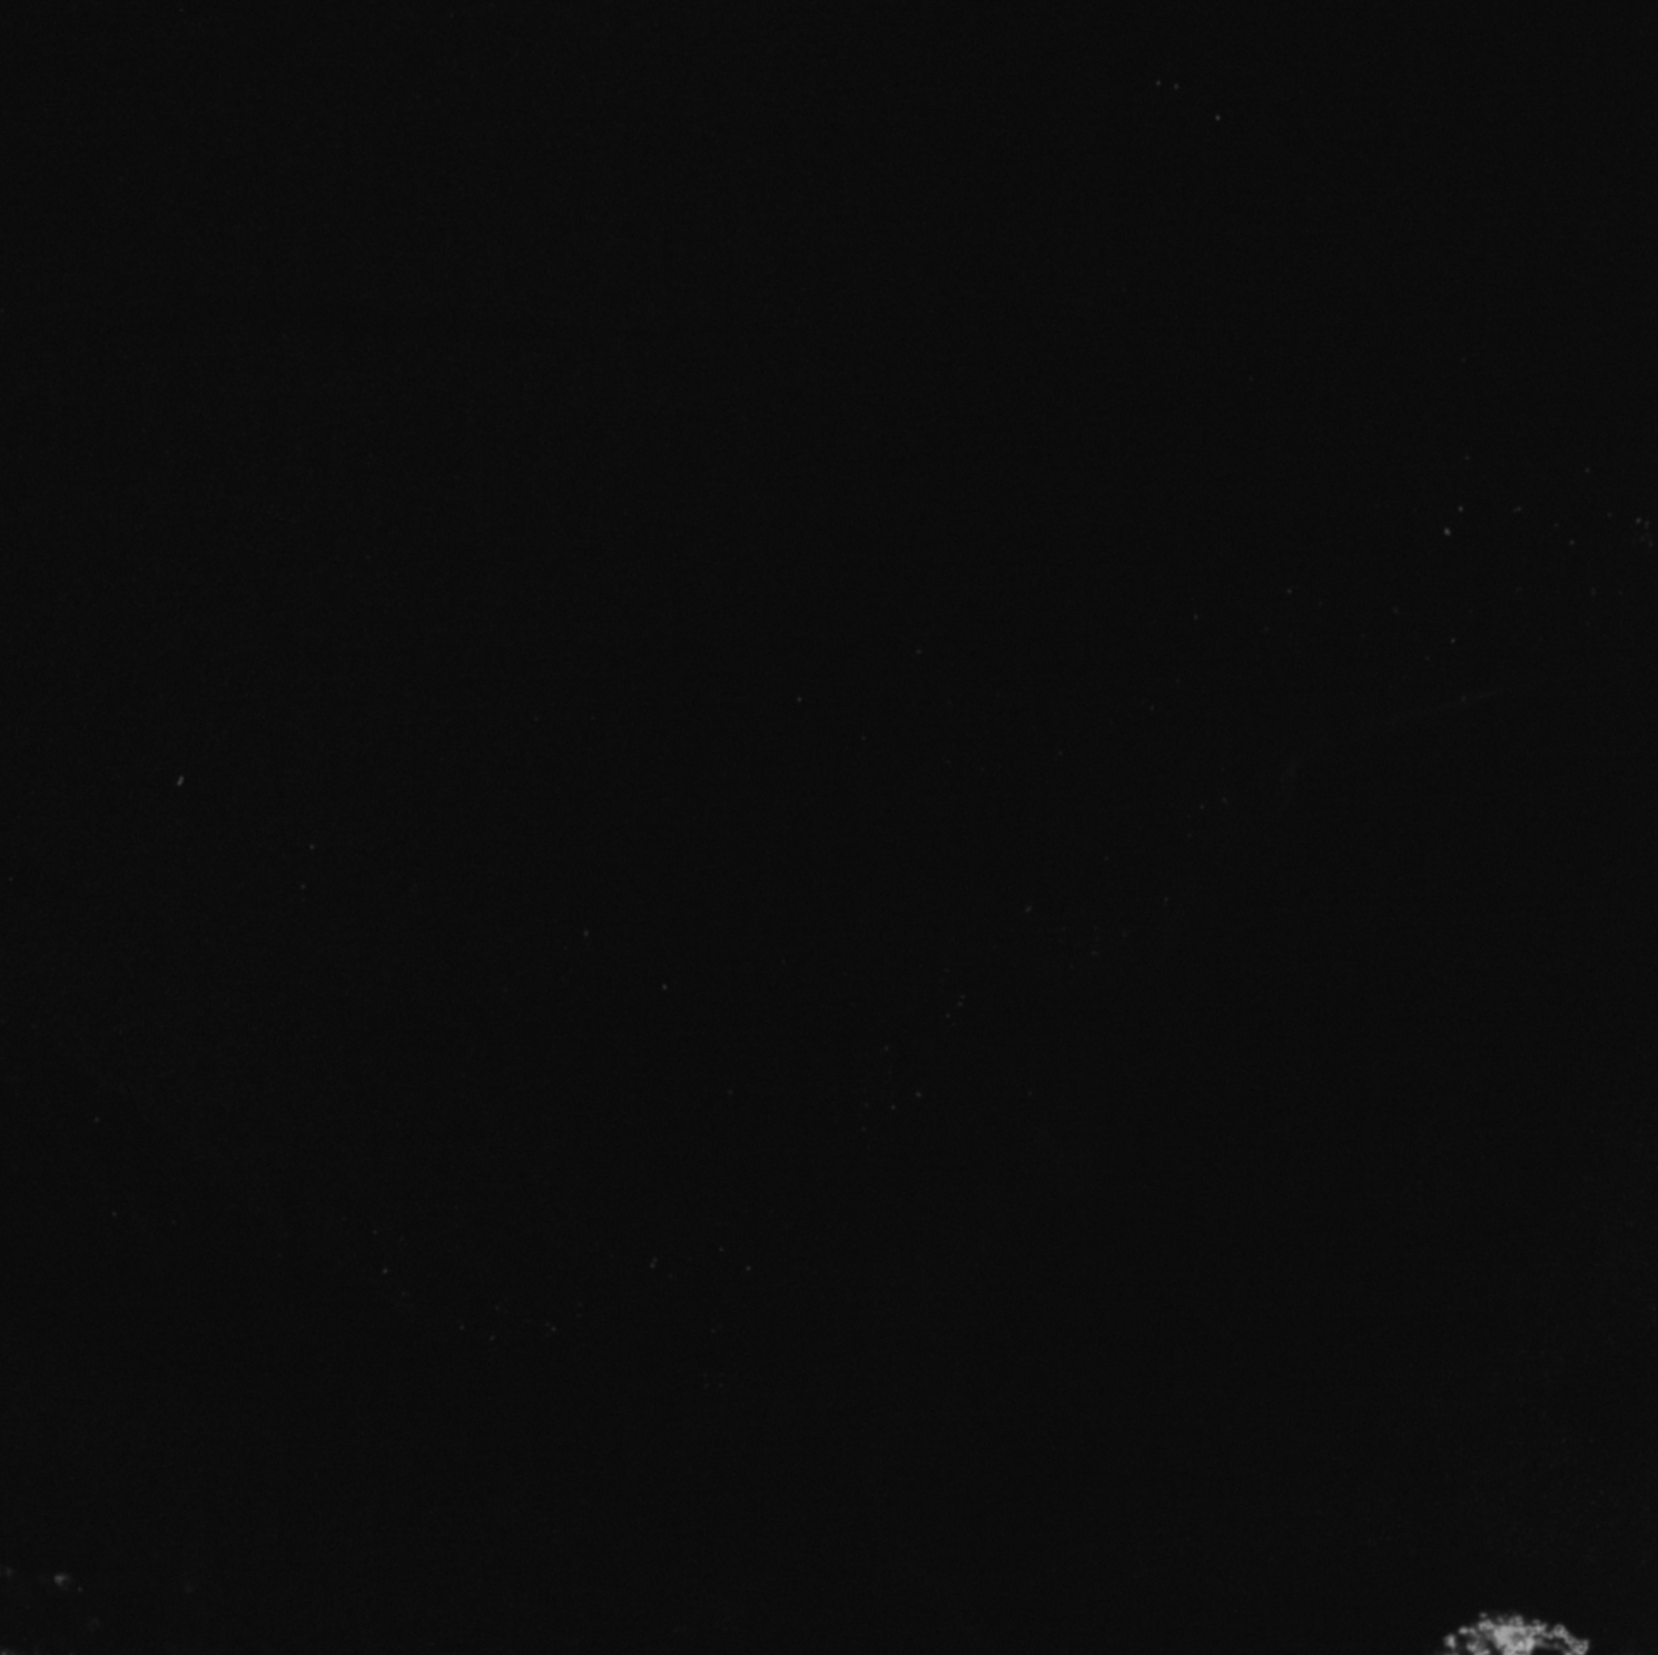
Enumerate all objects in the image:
river: (23, 6)

